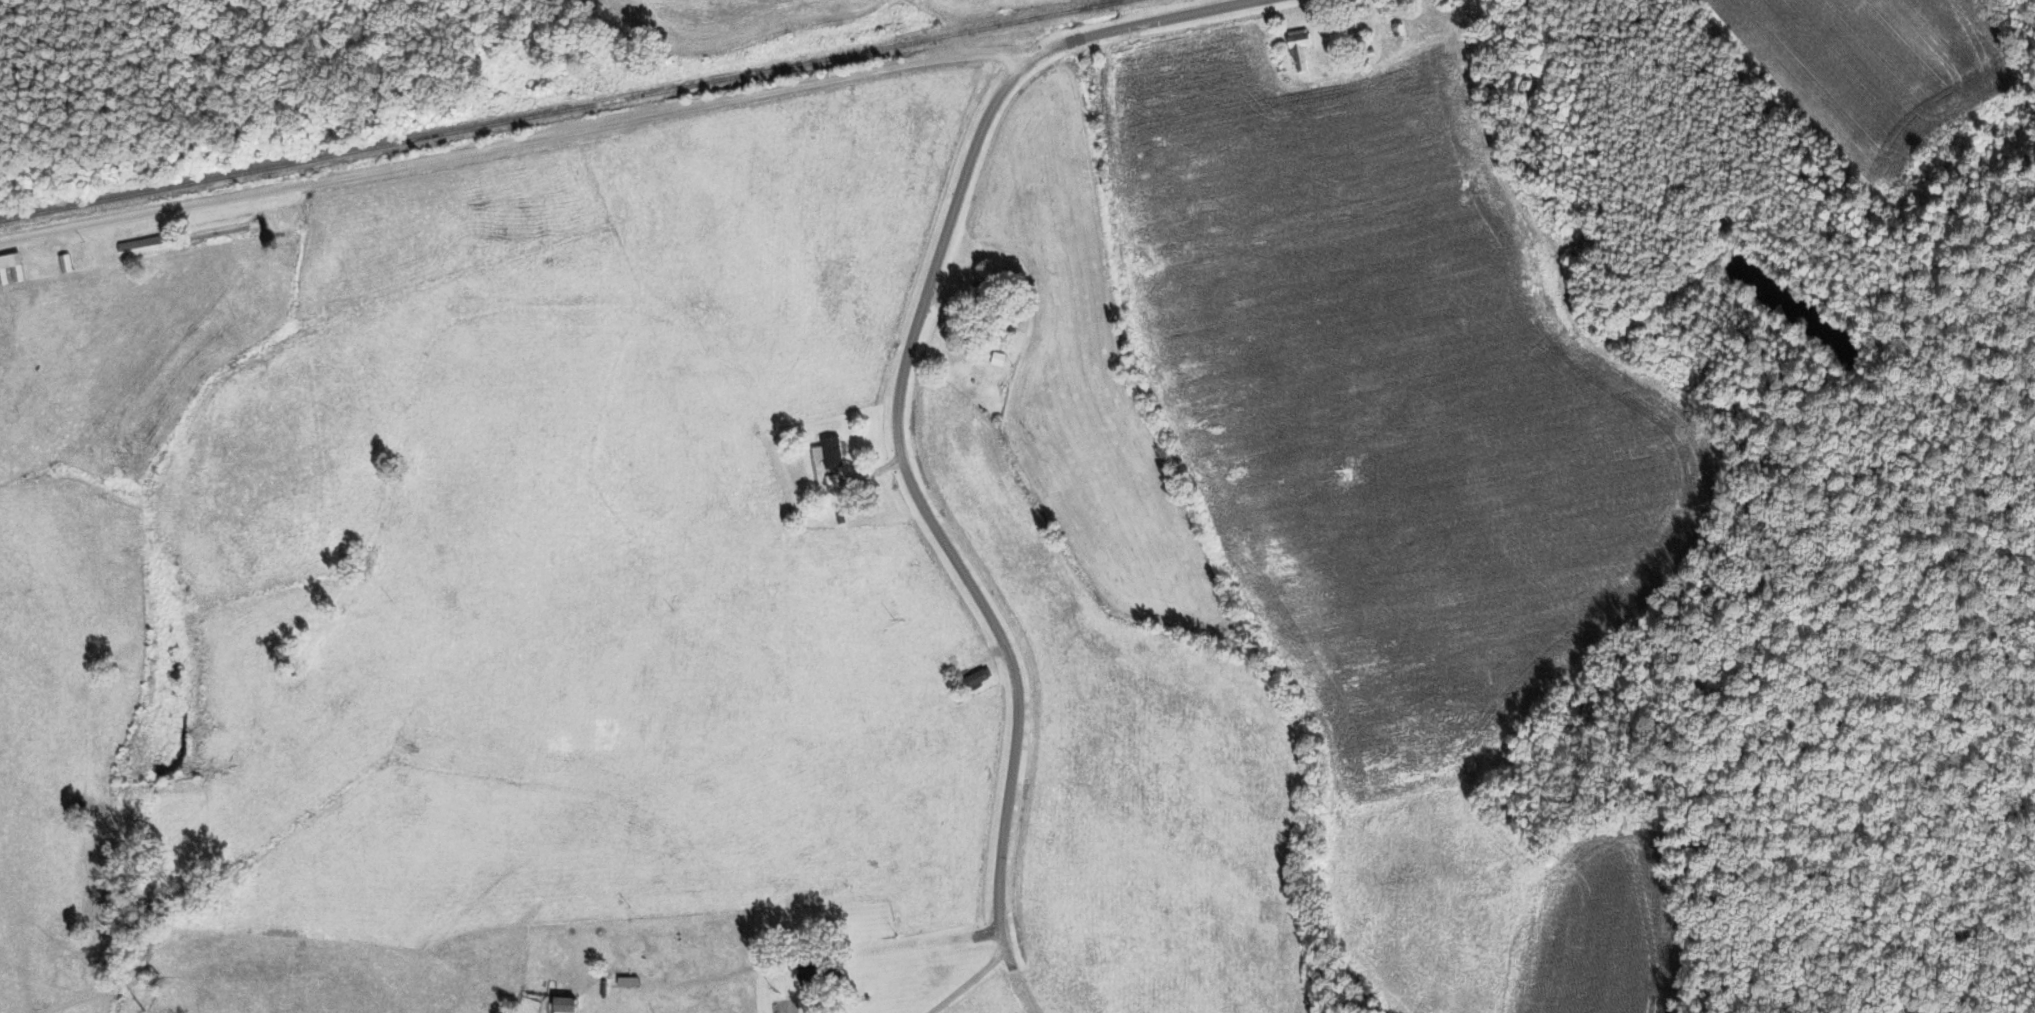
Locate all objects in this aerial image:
building: (1301, 47)
railway: (561, 111)
road: (511, 143)
building: (149, 245)
building: (66, 262)
building: (11, 268)
building: (999, 358)
road: (881, 391)
building: (830, 451)
building: (833, 481)
building: (979, 677)
building: (814, 974)
road: (975, 978)
building: (566, 1005)

